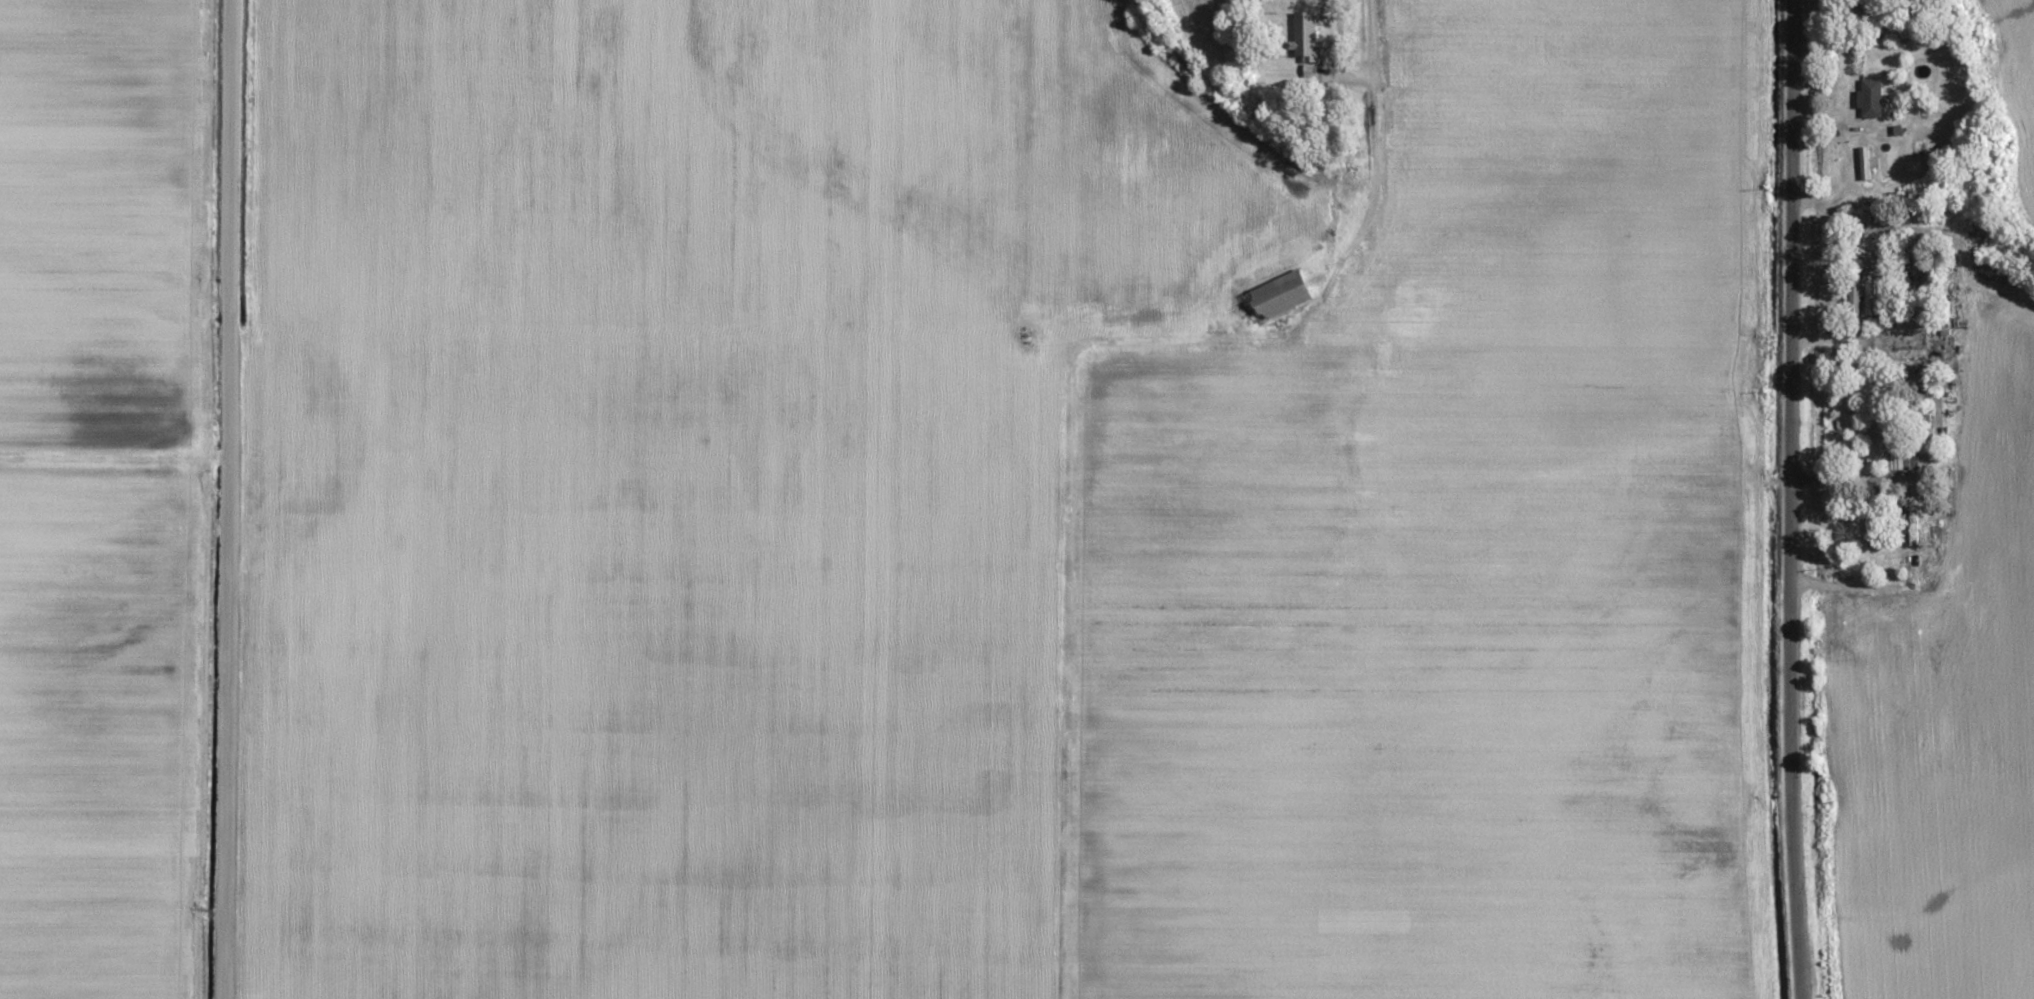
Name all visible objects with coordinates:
building: (1306, 37)
building: (1914, 53)
building: (1872, 93)
building: (1865, 168)
road: (1832, 249)
building: (1870, 265)
building: (1928, 277)
building: (1278, 296)
road: (1788, 311)
road: (1839, 336)
building: (1912, 340)
road: (1067, 387)
building: (1885, 442)
road: (113, 455)
road: (1837, 475)
road: (226, 499)
building: (1875, 531)
building: (1928, 536)
road: (1790, 811)

